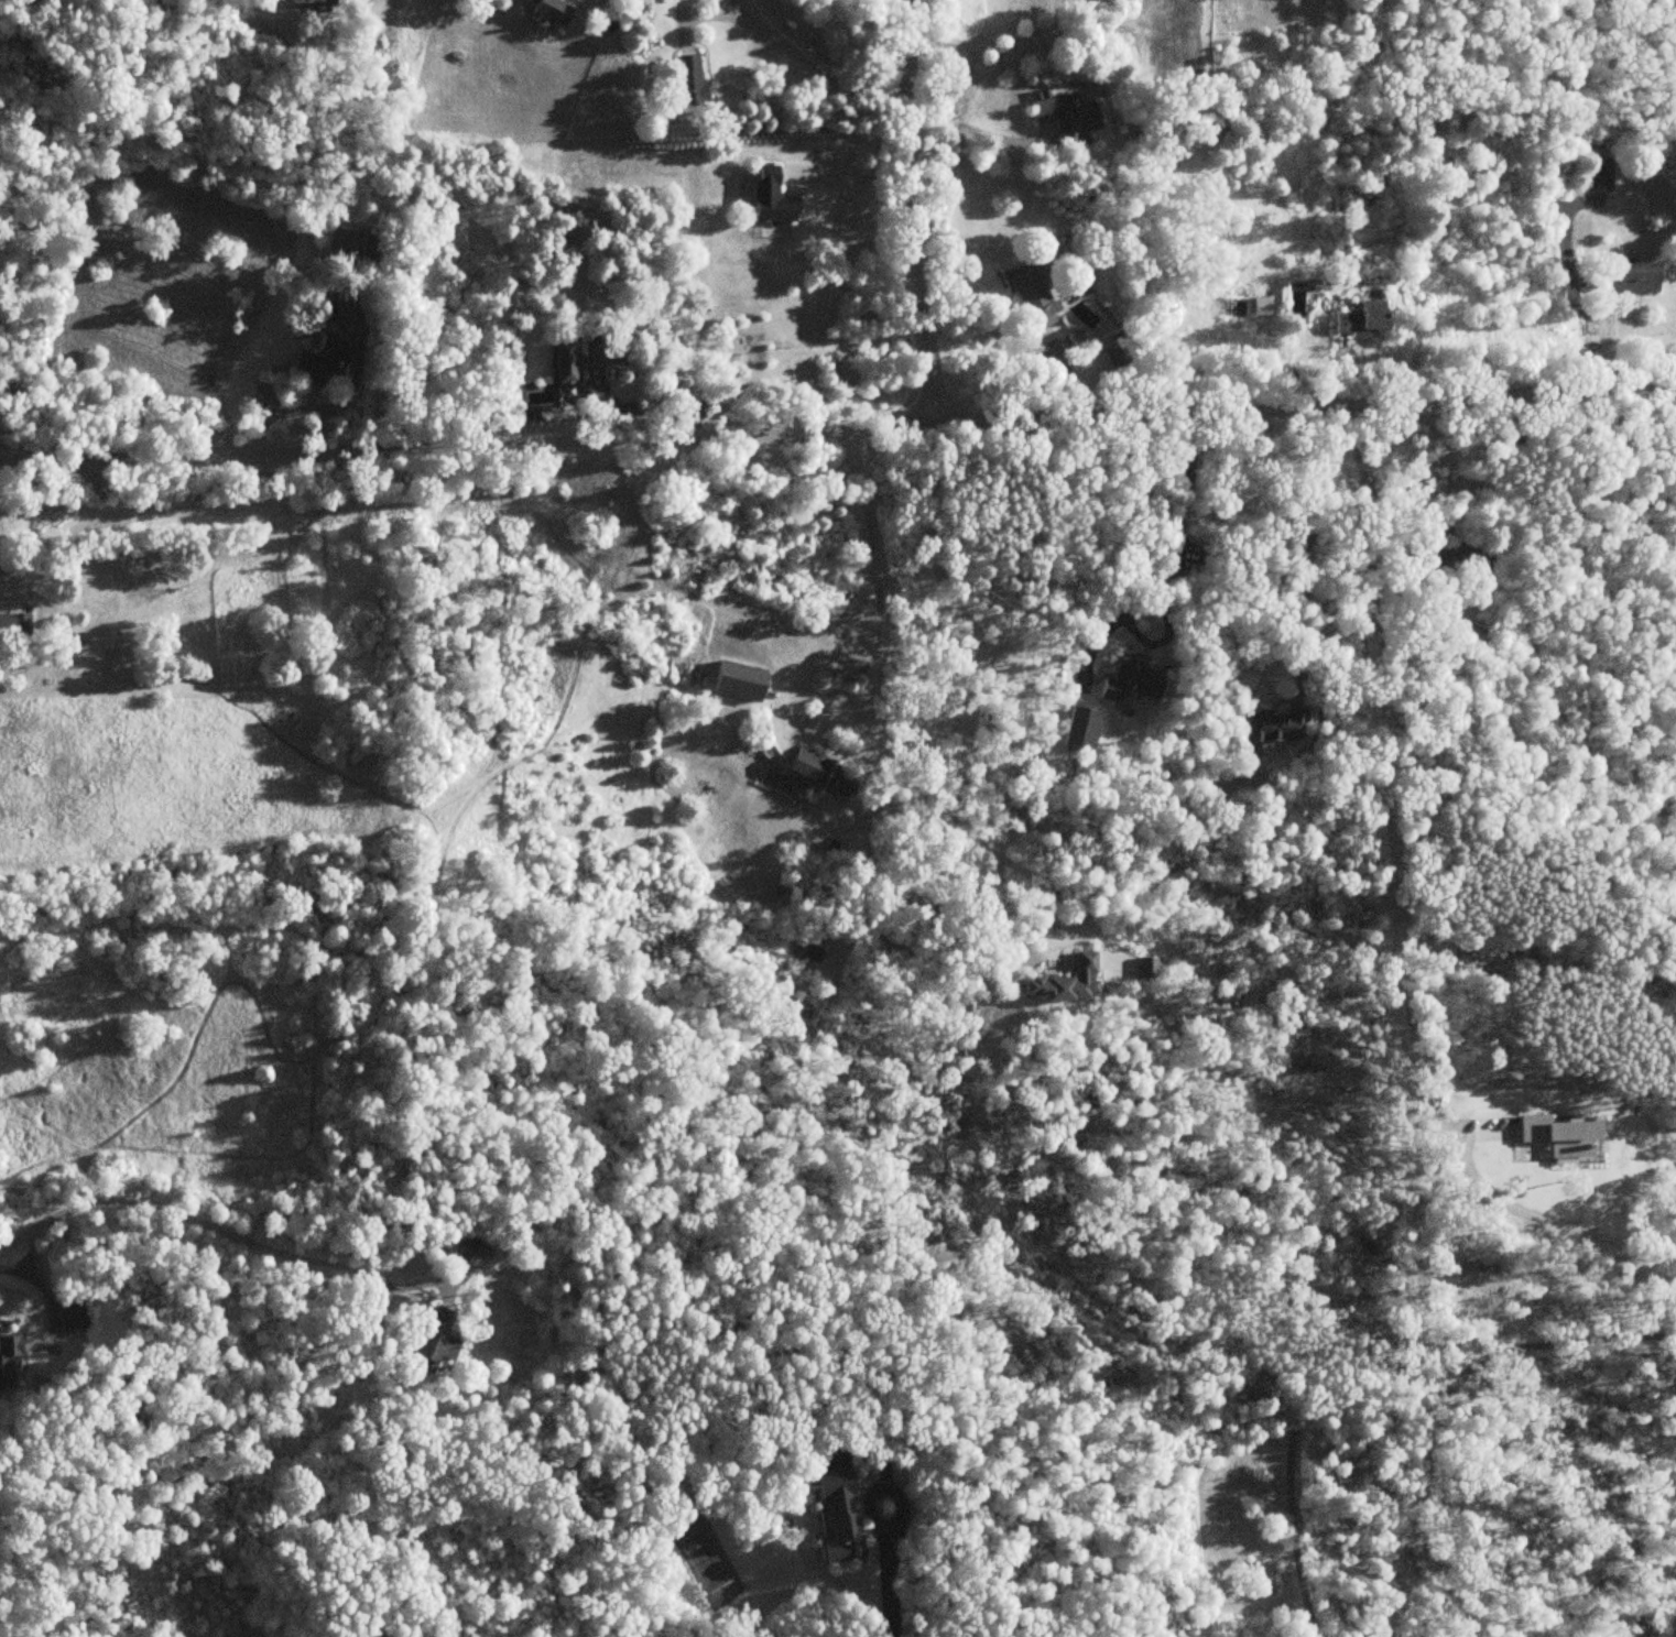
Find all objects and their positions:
building: (308, 3)
building: (546, 12)
road: (748, 12)
road: (719, 17)
road: (825, 76)
building: (685, 80)
building: (1064, 117)
road: (987, 133)
road: (847, 189)
building: (768, 198)
road: (910, 211)
building: (374, 249)
building: (1625, 280)
building: (1029, 291)
building: (1259, 306)
building: (325, 312)
building: (1358, 317)
building: (323, 358)
building: (561, 362)
road: (838, 430)
road: (1447, 461)
road: (150, 509)
road: (1312, 535)
road: (1166, 559)
building: (1459, 565)
road: (881, 605)
building: (14, 626)
building: (1129, 684)
road: (969, 708)
building: (1271, 727)
building: (1077, 729)
building: (819, 774)
building: (812, 949)
building: (1064, 982)
building: (1558, 1135)
road: (196, 1218)
road: (1542, 1221)
building: (468, 1246)
road: (21, 1275)
road: (42, 1287)
building: (73, 1314)
building: (433, 1340)
building: (7, 1362)
road: (1378, 1393)
building: (835, 1517)
road: (890, 1571)

